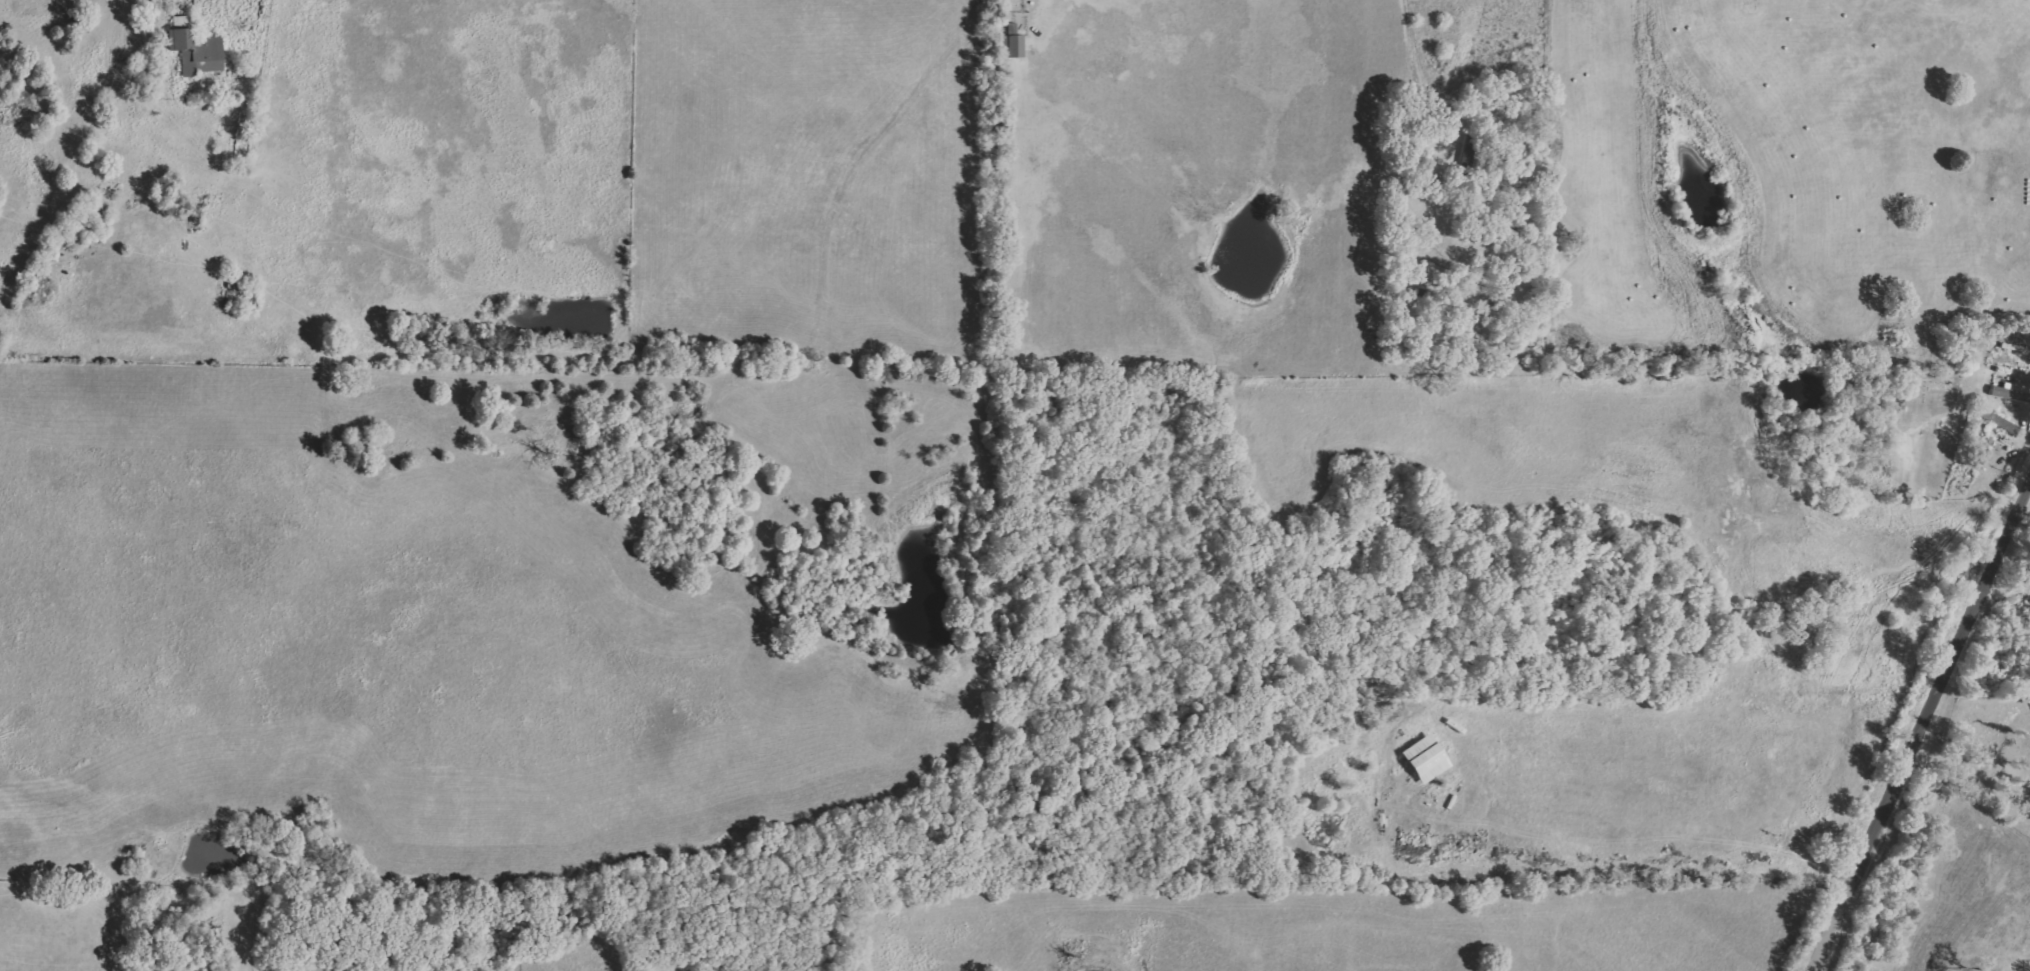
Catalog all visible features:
building: (1013, 46)
building: (196, 51)
road: (213, 64)
road: (1425, 71)
building: (2009, 394)
road: (1919, 723)
building: (1425, 759)

